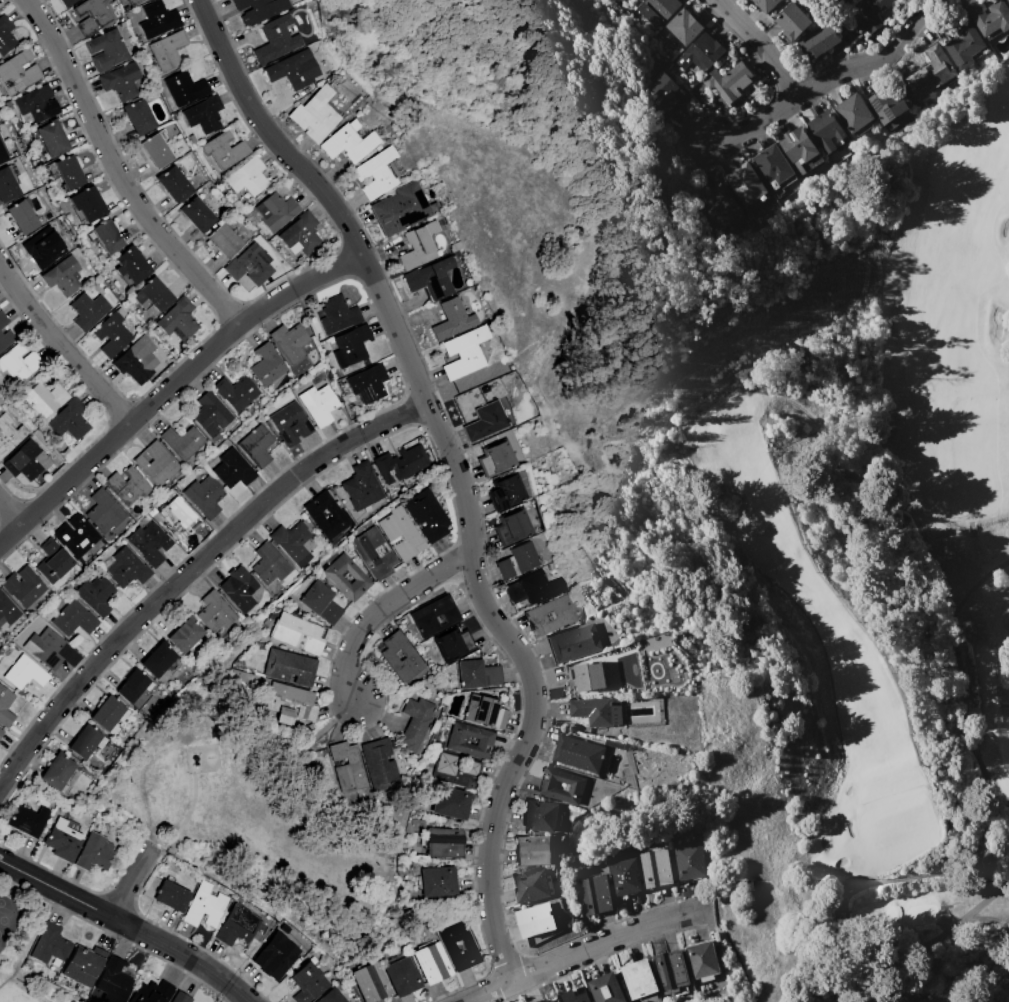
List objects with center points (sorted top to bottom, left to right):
building: (640, 0)
building: (1007, 0)
building: (134, 2)
building: (66, 3)
building: (766, 5)
building: (259, 10)
building: (658, 11)
building: (872, 13)
building: (91, 16)
building: (989, 16)
building: (158, 19)
building: (794, 22)
building: (684, 27)
building: (6, 35)
building: (276, 40)
building: (819, 42)
building: (964, 45)
road: (757, 47)
building: (107, 50)
building: (168, 50)
building: (702, 53)
road: (873, 57)
building: (294, 70)
building: (931, 71)
building: (17, 72)
building: (121, 81)
building: (728, 82)
building: (185, 88)
building: (665, 92)
building: (888, 103)
building: (33, 104)
building: (204, 114)
building: (855, 114)
building: (316, 115)
building: (138, 116)
road: (761, 125)
building: (825, 130)
building: (51, 139)
building: (351, 141)
building: (799, 145)
building: (225, 150)
building: (156, 151)
building: (2, 154)
building: (773, 164)
road: (117, 169)
building: (68, 172)
building: (378, 173)
building: (248, 177)
building: (174, 184)
building: (7, 185)
building: (747, 186)
building: (86, 203)
building: (722, 208)
building: (401, 209)
building: (276, 211)
building: (197, 215)
building: (21, 217)
building: (301, 233)
building: (105, 236)
building: (224, 240)
building: (418, 246)
building: (46, 247)
building: (132, 264)
building: (250, 264)
building: (63, 276)
building: (431, 279)
building: (152, 296)
building: (88, 311)
building: (337, 314)
building: (452, 319)
building: (3, 320)
building: (178, 320)
building: (112, 335)
building: (7, 338)
building: (290, 342)
road: (66, 346)
building: (351, 346)
building: (464, 353)
building: (137, 360)
building: (18, 364)
building: (266, 365)
building: (367, 383)
road: (172, 387)
building: (236, 392)
building: (43, 399)
building: (319, 404)
building: (210, 414)
building: (69, 420)
building: (485, 422)
building: (289, 424)
building: (10, 435)
building: (182, 442)
building: (257, 446)
building: (494, 459)
building: (28, 461)
building: (156, 463)
building: (403, 463)
building: (233, 469)
road: (459, 472)
building: (127, 486)
building: (361, 486)
building: (505, 492)
building: (205, 496)
road: (11, 509)
building: (104, 512)
building: (314, 514)
building: (178, 515)
building: (428, 515)
building: (511, 528)
building: (402, 534)
building: (76, 535)
road: (224, 539)
building: (294, 543)
building: (149, 544)
building: (374, 554)
building: (517, 561)
building: (53, 562)
building: (269, 565)
building: (128, 568)
building: (336, 578)
park: (849, 578)
building: (24, 586)
building: (528, 589)
building: (239, 591)
building: (98, 595)
building: (321, 603)
building: (7, 610)
road: (385, 611)
building: (216, 612)
building: (550, 616)
building: (434, 617)
building: (74, 619)
building: (298, 633)
building: (185, 635)
building: (574, 643)
building: (453, 644)
building: (45, 648)
building: (399, 657)
building: (158, 659)
building: (289, 667)
building: (25, 673)
building: (478, 674)
building: (584, 676)
building: (133, 685)
building: (289, 704)
building: (5, 708)
building: (597, 711)
building: (485, 712)
building: (108, 714)
building: (415, 724)
building: (1, 729)
building: (1, 732)
building: (457, 740)
building: (85, 741)
road: (26, 751)
building: (578, 753)
building: (380, 765)
building: (346, 767)
building: (455, 769)
building: (57, 773)
building: (575, 785)
building: (450, 803)
building: (540, 816)
building: (25, 821)
park: (257, 826)
building: (62, 840)
building: (442, 843)
building: (533, 850)
building: (95, 853)
building: (689, 861)
building: (655, 868)
building: (624, 877)
road: (130, 878)
building: (436, 882)
building: (531, 886)
road: (53, 887)
building: (595, 895)
building: (171, 896)
building: (206, 905)
building: (536, 920)
building: (237, 925)
road: (609, 939)
building: (51, 944)
building: (451, 947)
road: (180, 953)
building: (276, 955)
building: (702, 959)
building: (432, 963)
building: (84, 965)
building: (671, 971)
building: (402, 977)
building: (639, 979)
building: (113, 981)
building: (307, 982)
building: (370, 983)
building: (607, 989)
road: (487, 992)
building: (152, 993)
building: (576, 995)
building: (330, 996)
building: (180, 997)
building: (543, 1000)

